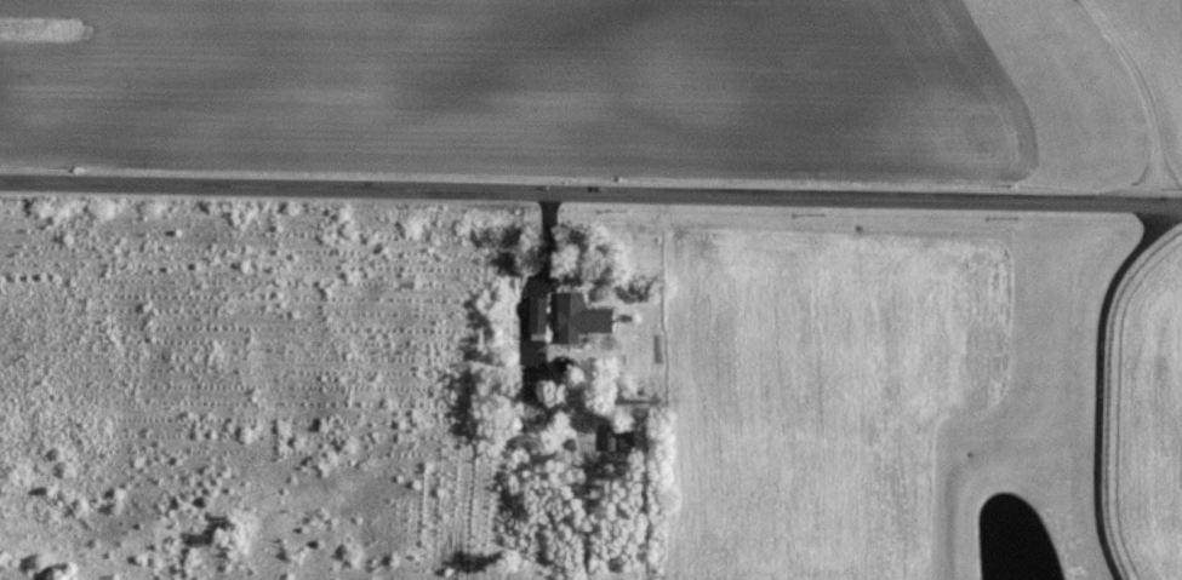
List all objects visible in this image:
road: (1144, 92)
road: (590, 191)
road: (1098, 385)

